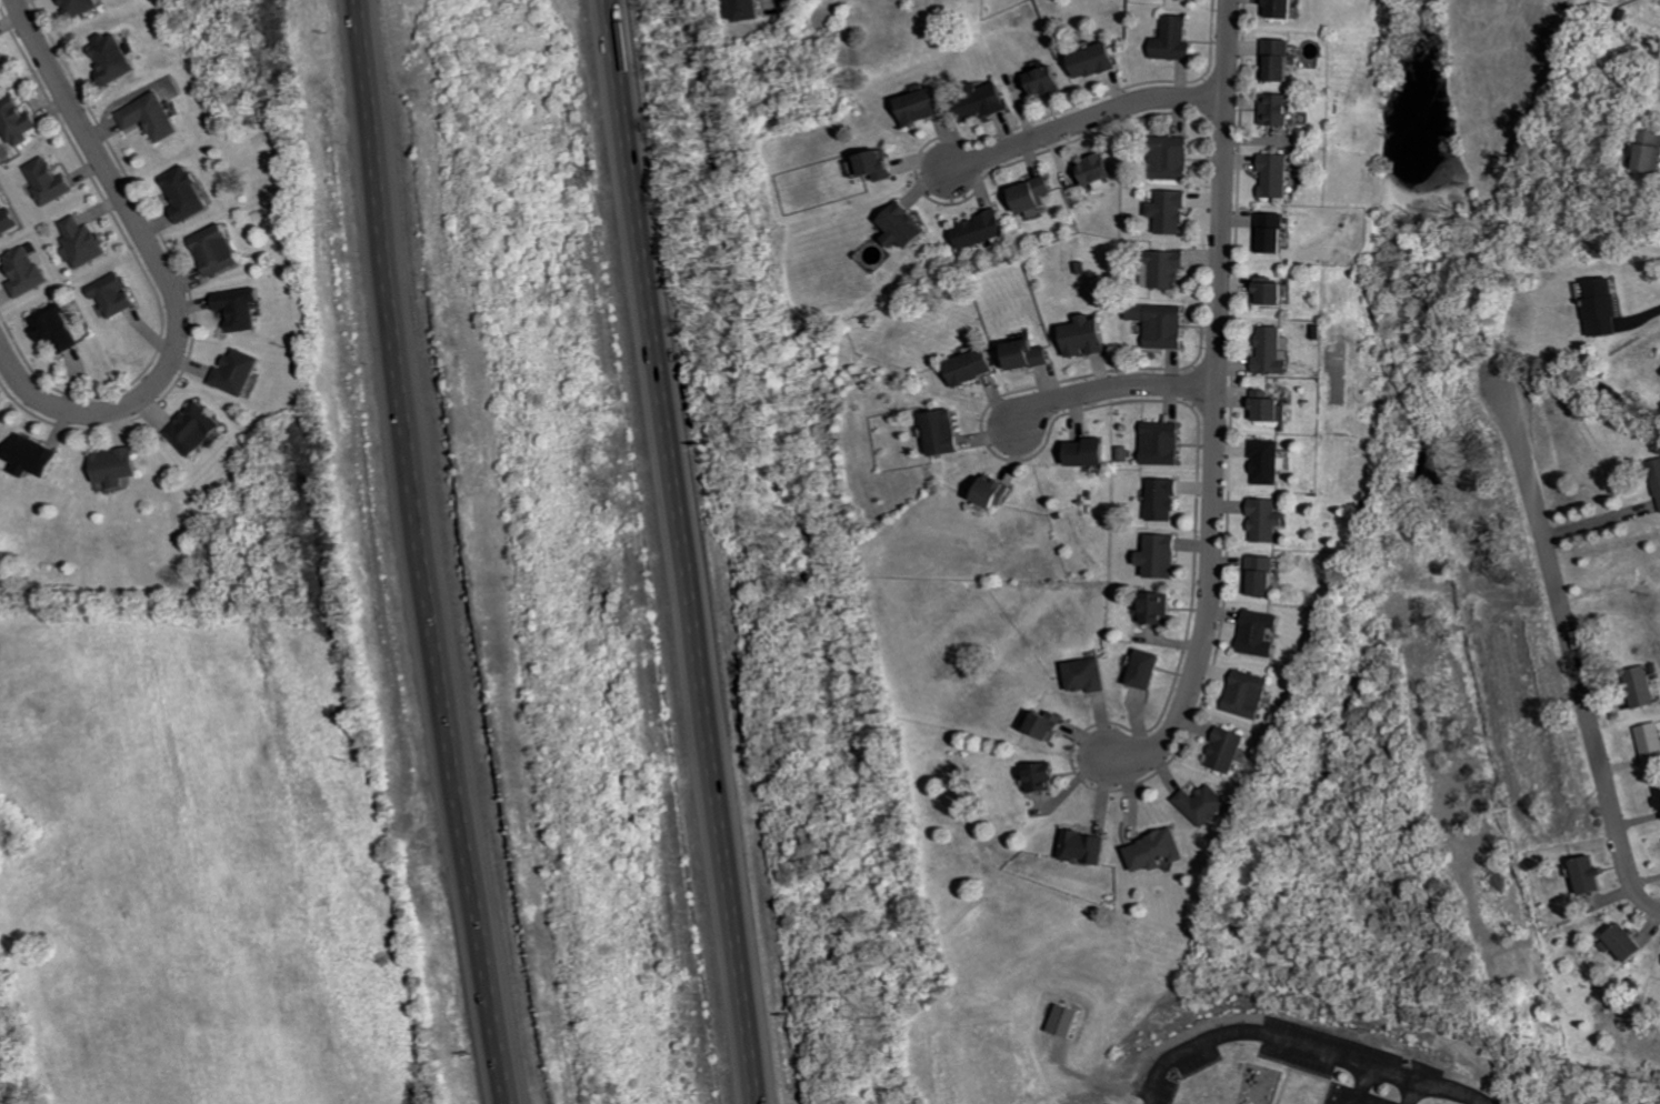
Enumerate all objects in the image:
building: (1194, 0)
building: (81, 7)
building: (748, 8)
building: (1279, 8)
building: (1172, 34)
building: (116, 57)
building: (1094, 58)
building: (1278, 58)
building: (2, 61)
building: (1044, 82)
building: (984, 100)
building: (923, 108)
building: (1274, 109)
building: (156, 117)
road: (1084, 118)
building: (18, 120)
building: (1652, 150)
building: (1172, 154)
building: (876, 168)
building: (1092, 170)
building: (1273, 174)
building: (50, 180)
building: (189, 193)
building: (1030, 193)
building: (1168, 208)
building: (8, 220)
building: (903, 225)
building: (981, 229)
building: (1270, 230)
building: (84, 242)
building: (219, 249)
building: (1166, 261)
building: (28, 270)
road: (161, 273)
building: (1267, 289)
building: (116, 294)
building: (243, 307)
building: (1606, 307)
building: (1164, 320)
building: (57, 327)
building: (1086, 337)
building: (1271, 350)
building: (1029, 358)
building: (971, 368)
building: (240, 371)
road: (1112, 385)
road: (1216, 405)
building: (1267, 405)
building: (200, 429)
building: (944, 435)
building: (1164, 439)
building: (1087, 451)
building: (38, 456)
building: (1263, 459)
building: (1657, 473)
building: (993, 492)
building: (1161, 494)
building: (1264, 515)
road: (1597, 521)
road: (683, 551)
road: (418, 554)
building: (1160, 554)
building: (1258, 575)
building: (1156, 605)
building: (1256, 630)
road: (1572, 649)
building: (1144, 670)
building: (1084, 673)
building: (1647, 686)
building: (1244, 688)
building: (1046, 727)
building: (1652, 742)
building: (1223, 743)
building: (1041, 780)
building: (1659, 781)
building: (1201, 799)
building: (1153, 846)
building: (1083, 850)
building: (1594, 874)
road: (1653, 907)
building: (1629, 943)
building: (1068, 1021)
road: (1264, 1035)
road: (1409, 1093)
road: (1446, 1093)
building: (1112, 1103)

